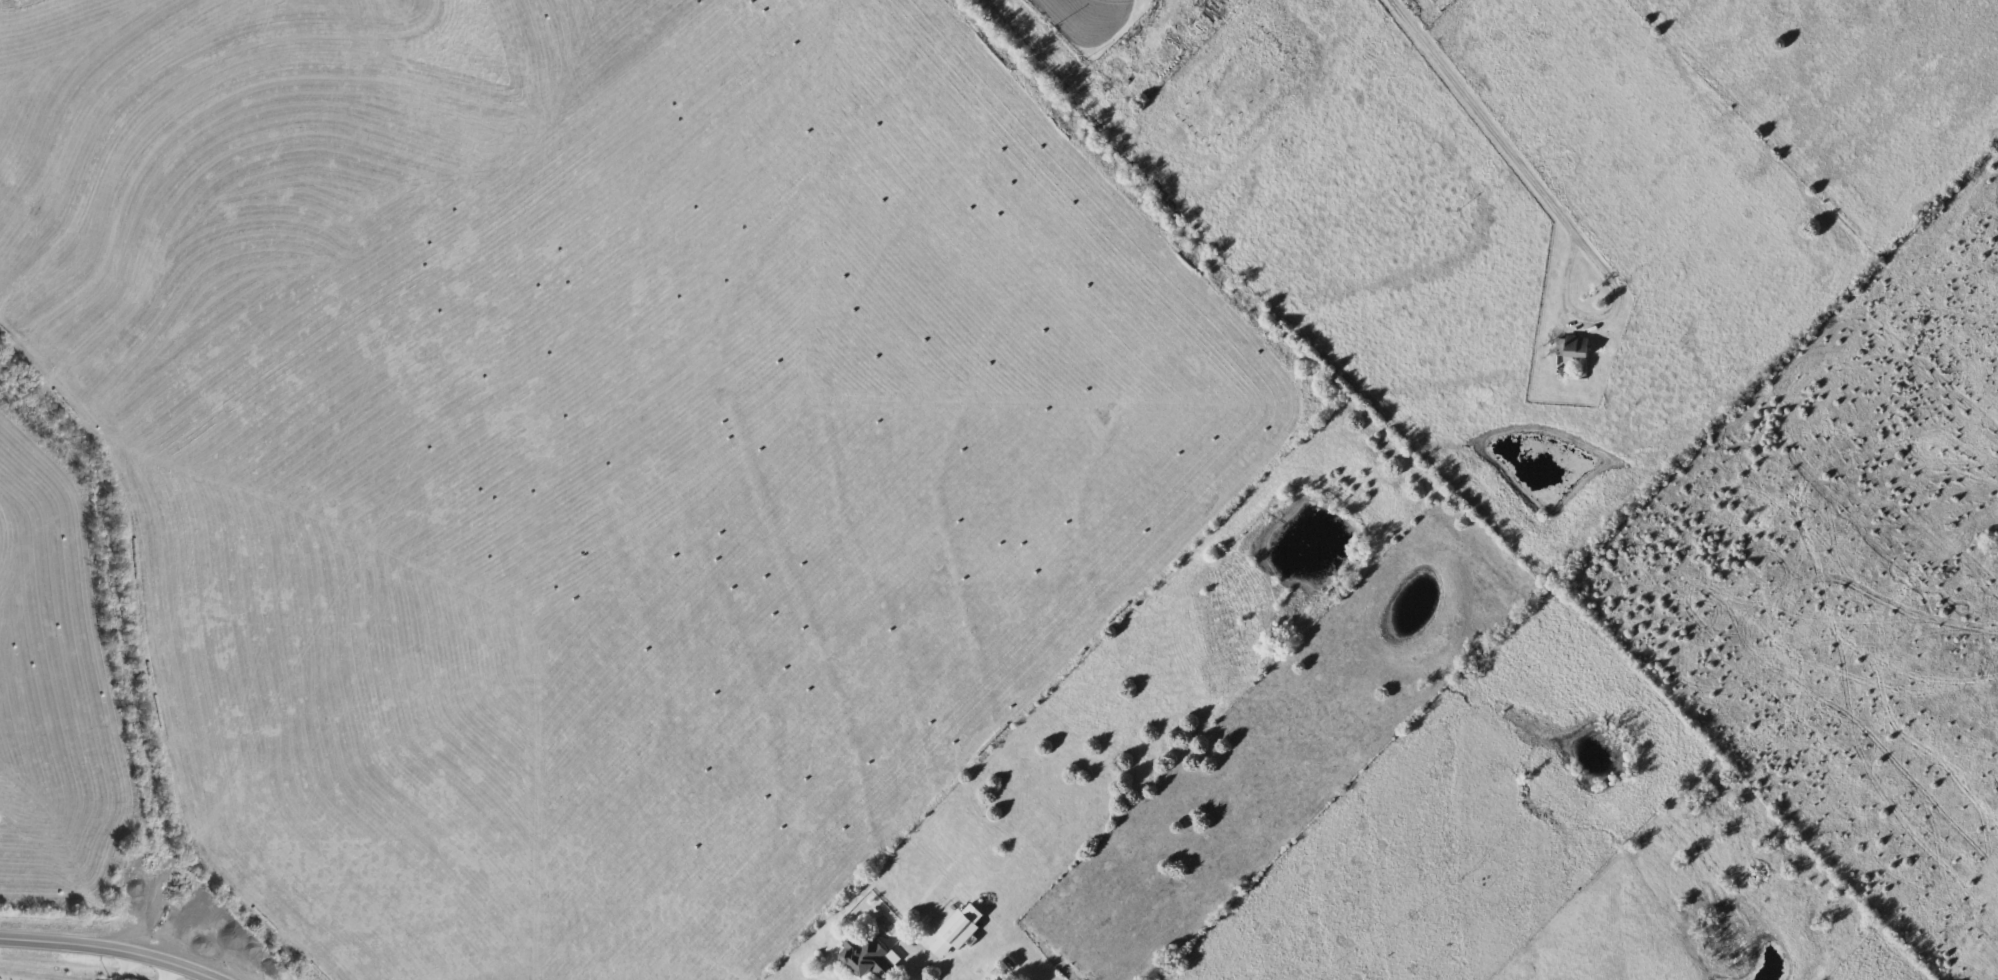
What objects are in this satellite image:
road: (1475, 121)
road: (1616, 316)
building: (1574, 348)
road: (122, 647)
building: (960, 931)
road: (105, 950)
building: (867, 958)
road: (123, 968)
road: (166, 972)

